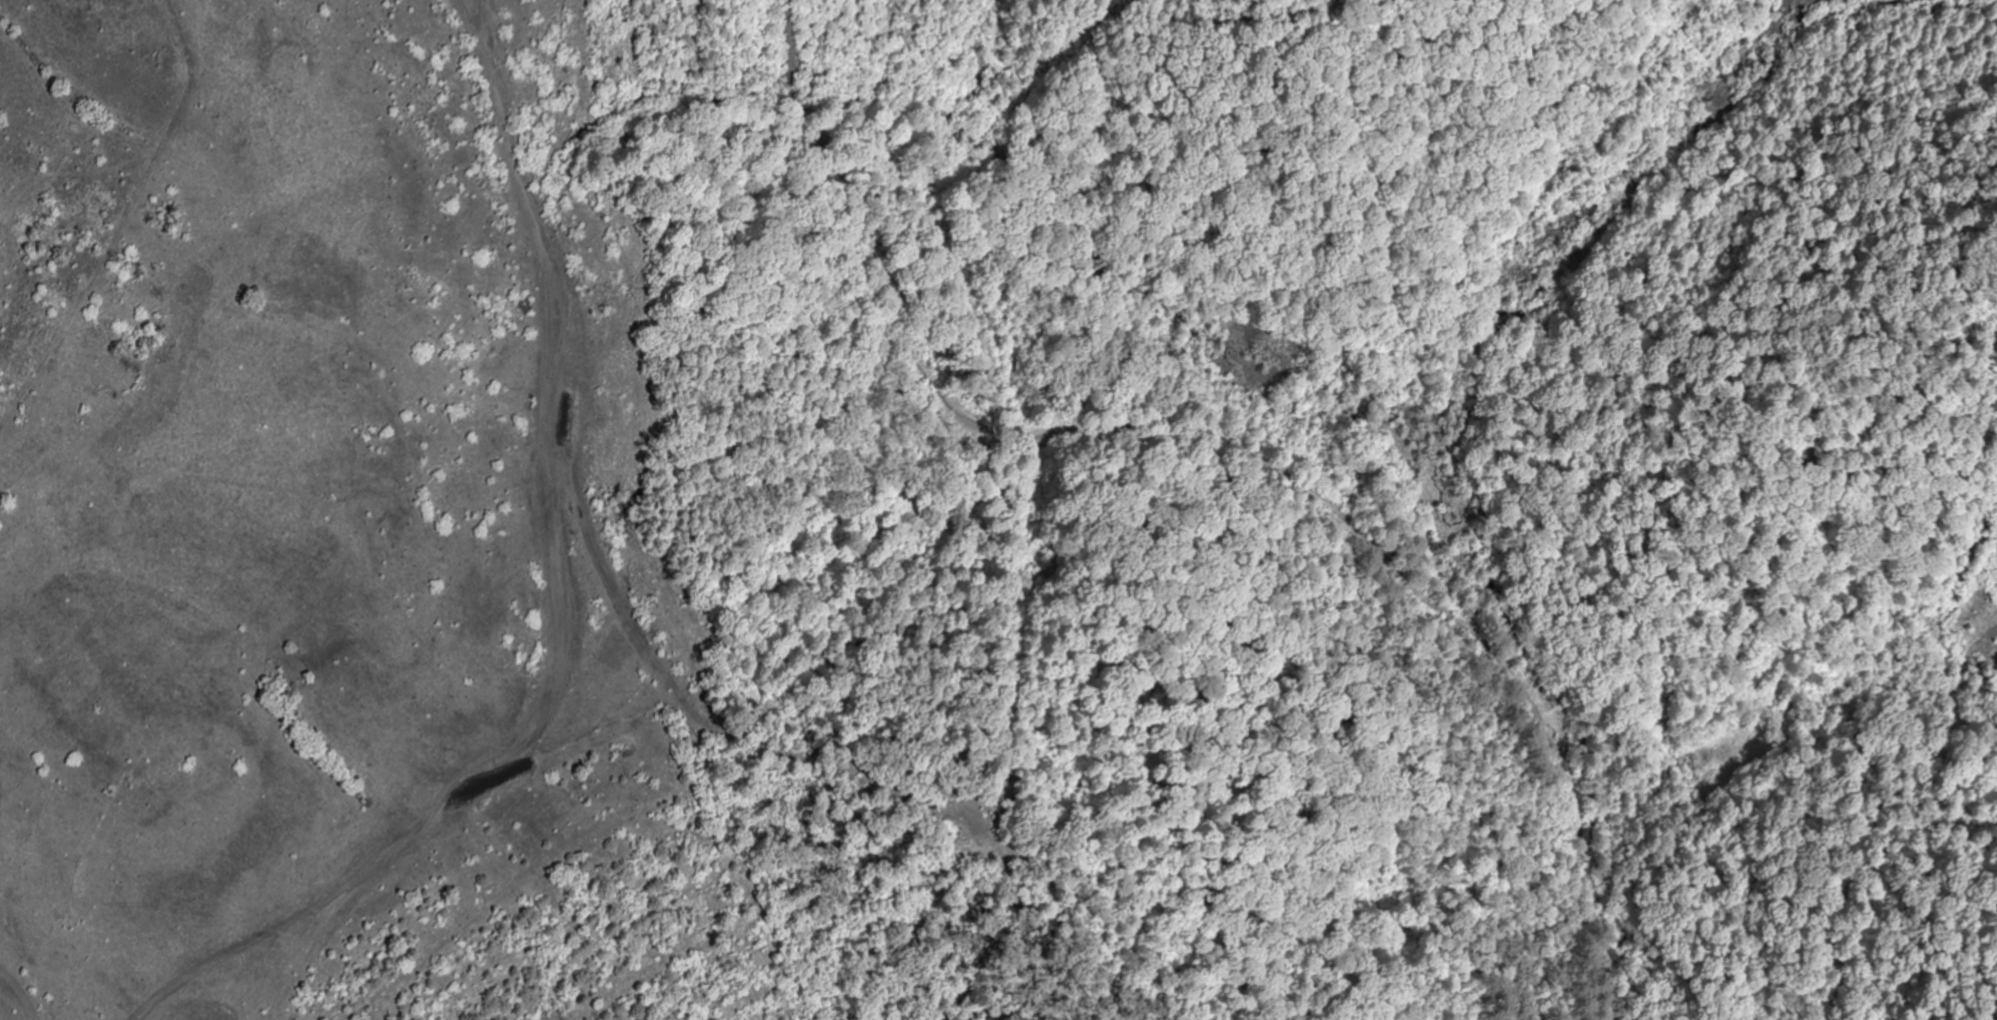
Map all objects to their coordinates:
road: (1631, 997)

